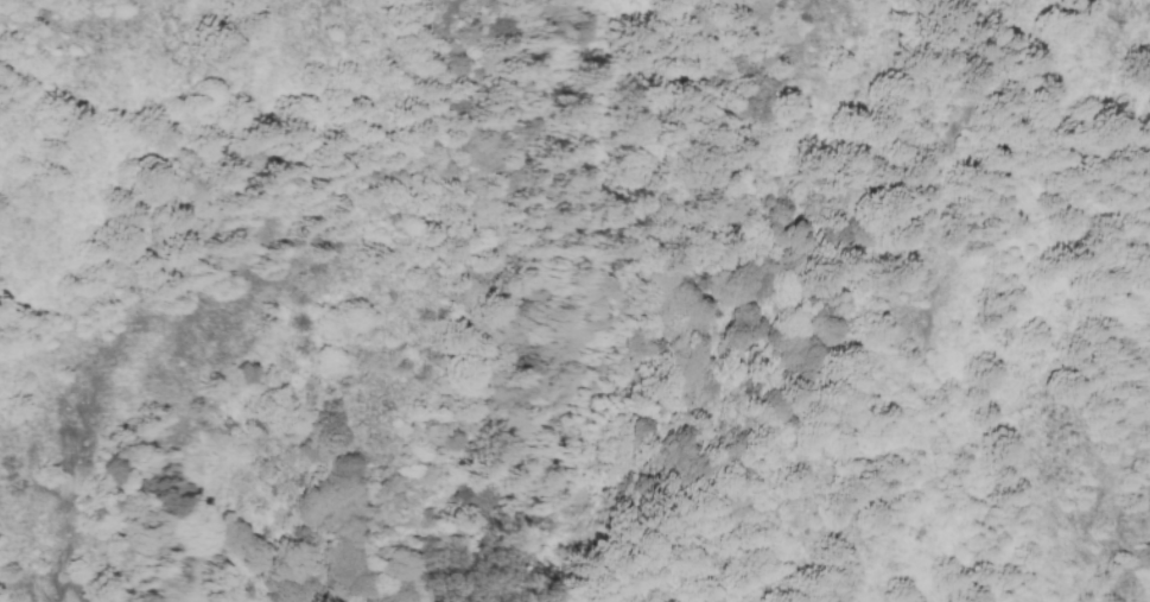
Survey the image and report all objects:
road: (900, 298)

